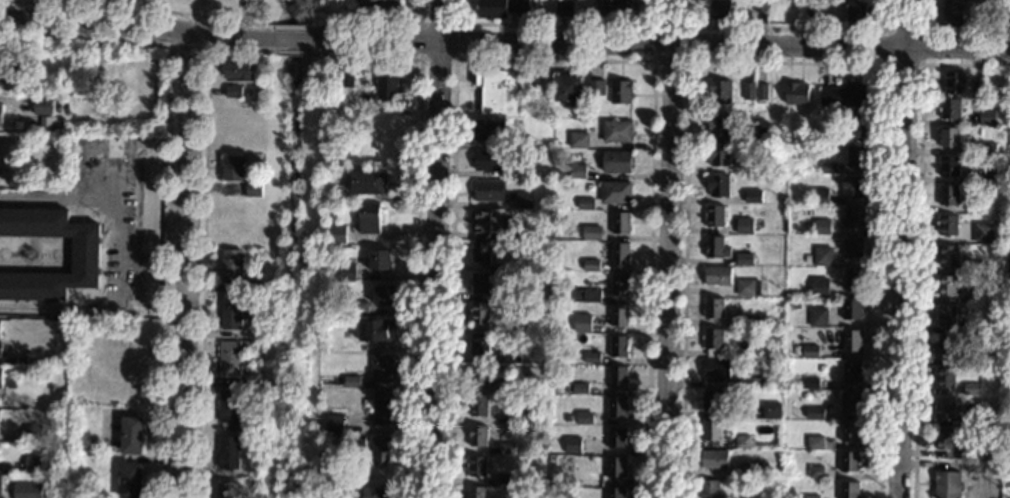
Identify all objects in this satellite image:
building: (383, 5)
road: (130, 6)
building: (762, 7)
building: (501, 8)
building: (618, 8)
building: (565, 9)
park: (176, 10)
road: (242, 10)
building: (721, 11)
building: (952, 12)
building: (857, 14)
road: (888, 14)
building: (1003, 14)
building: (814, 15)
road: (383, 23)
road: (454, 24)
road: (132, 25)
road: (555, 25)
road: (687, 26)
road: (292, 27)
road: (774, 27)
road: (921, 28)
road: (951, 28)
road: (293, 39)
road: (665, 48)
road: (171, 49)
road: (299, 52)
building: (5, 57)
road: (553, 59)
road: (787, 62)
building: (240, 74)
building: (14, 76)
building: (347, 81)
building: (955, 84)
building: (51, 86)
building: (388, 87)
building: (533, 87)
building: (596, 88)
building: (568, 90)
building: (979, 90)
building: (499, 92)
building: (749, 92)
building: (234, 93)
building: (621, 93)
building: (721, 93)
building: (762, 94)
building: (797, 95)
building: (845, 97)
building: (42, 107)
building: (951, 111)
building: (1, 115)
building: (988, 118)
building: (46, 126)
building: (720, 126)
building: (856, 127)
building: (489, 132)
building: (618, 133)
building: (759, 136)
building: (821, 138)
building: (950, 139)
building: (580, 142)
building: (989, 150)
building: (719, 156)
building: (857, 157)
building: (261, 161)
building: (489, 161)
building: (618, 163)
building: (950, 167)
building: (751, 168)
building: (830, 168)
building: (234, 169)
building: (523, 169)
building: (579, 172)
road: (108, 175)
building: (996, 175)
building: (341, 176)
building: (369, 185)
building: (719, 186)
road: (168, 187)
building: (855, 188)
building: (254, 190)
building: (490, 191)
building: (617, 194)
building: (820, 197)
building: (949, 197)
building: (754, 198)
road: (103, 199)
building: (524, 201)
building: (586, 205)
building: (977, 208)
building: (715, 217)
building: (369, 219)
building: (855, 219)
building: (487, 223)
building: (622, 224)
building: (745, 227)
building: (821, 227)
building: (948, 227)
building: (338, 234)
building: (593, 234)
building: (982, 234)
building: (512, 235)
road: (416, 236)
road: (917, 236)
road: (203, 248)
road: (435, 248)
road: (668, 248)
building: (717, 249)
building: (854, 249)
road: (898, 249)
building: (483, 253)
building: (86, 255)
building: (621, 255)
building: (822, 257)
building: (803, 258)
building: (948, 258)
building: (381, 261)
building: (745, 261)
building: (510, 266)
road: (187, 267)
building: (233, 267)
building: (592, 267)
building: (977, 268)
park: (294, 269)
building: (347, 273)
building: (718, 277)
building: (854, 282)
building: (481, 284)
building: (621, 286)
building: (252, 287)
building: (947, 287)
building: (749, 289)
building: (820, 289)
building: (510, 295)
building: (386, 296)
building: (979, 296)
building: (1009, 296)
building: (588, 297)
building: (795, 305)
road: (56, 309)
building: (361, 310)
building: (715, 310)
building: (852, 312)
building: (481, 313)
building: (232, 314)
building: (620, 316)
building: (817, 317)
building: (947, 318)
building: (752, 322)
building: (514, 324)
building: (583, 324)
building: (1009, 327)
building: (973, 329)
building: (376, 331)
building: (324, 333)
building: (0, 334)
building: (714, 340)
building: (853, 342)
building: (481, 346)
building: (620, 347)
building: (946, 348)
building: (798, 353)
building: (811, 353)
building: (513, 356)
building: (592, 359)
building: (973, 359)
building: (21, 360)
building: (231, 361)
building: (383, 369)
building: (717, 369)
building: (852, 373)
building: (0, 377)
building: (480, 377)
building: (619, 378)
building: (946, 378)
building: (252, 380)
building: (353, 383)
building: (749, 384)
building: (811, 384)
building: (796, 385)
building: (566, 386)
building: (509, 389)
building: (973, 390)
building: (582, 391)
building: (713, 401)
building: (851, 404)
building: (480, 407)
building: (384, 408)
building: (619, 408)
building: (945, 409)
building: (772, 412)
building: (233, 413)
building: (816, 415)
building: (567, 418)
building: (1007, 419)
building: (586, 420)
building: (971, 420)
building: (521, 421)
building: (336, 426)
building: (712, 431)
building: (851, 433)
building: (32, 434)
building: (97, 436)
building: (132, 437)
building: (479, 437)
building: (617, 439)
building: (944, 441)
building: (359, 442)
building: (743, 443)
building: (816, 444)
building: (574, 447)
building: (384, 450)
building: (508, 450)
building: (1008, 451)
building: (977, 452)
building: (229, 454)
building: (367, 458)
building: (715, 461)
building: (851, 463)
building: (33, 464)
building: (976, 467)
building: (478, 468)
building: (616, 469)
building: (754, 471)
building: (585, 472)
building: (817, 474)
building: (517, 478)
building: (507, 480)
building: (131, 481)
building: (1007, 481)
building: (948, 486)
building: (2, 487)
building: (710, 490)
building: (27, 491)
building: (229, 491)
building: (850, 491)
building: (379, 493)
building: (478, 493)
building: (616, 493)
building: (810, 497)

